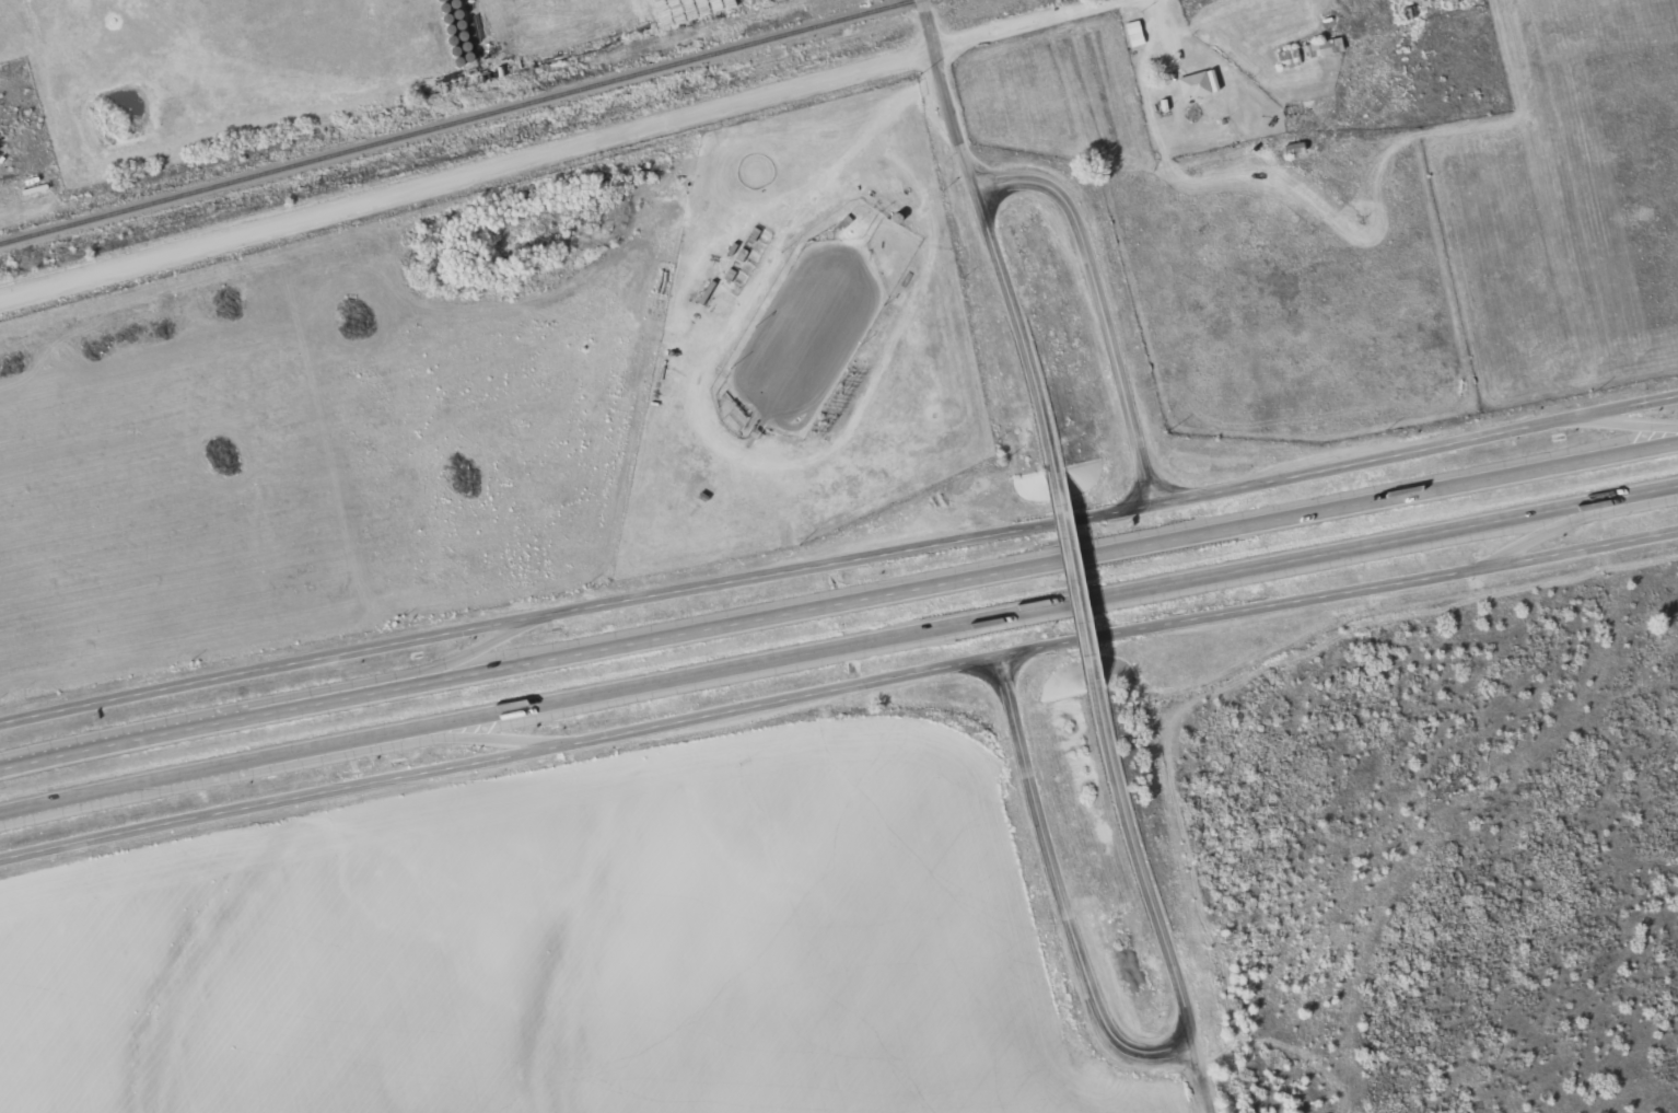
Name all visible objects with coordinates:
road: (1023, 23)
building: (1137, 33)
building: (1325, 47)
building: (1291, 57)
building: (1197, 84)
railway: (453, 120)
road: (467, 165)
road: (989, 234)
road: (1098, 299)
road: (1628, 424)
road: (1576, 517)
road: (839, 560)
road: (1075, 580)
road: (838, 603)
road: (838, 645)
road: (336, 686)
road: (836, 695)
road: (325, 757)
road: (1143, 870)
road: (1063, 898)
road: (1207, 1080)

